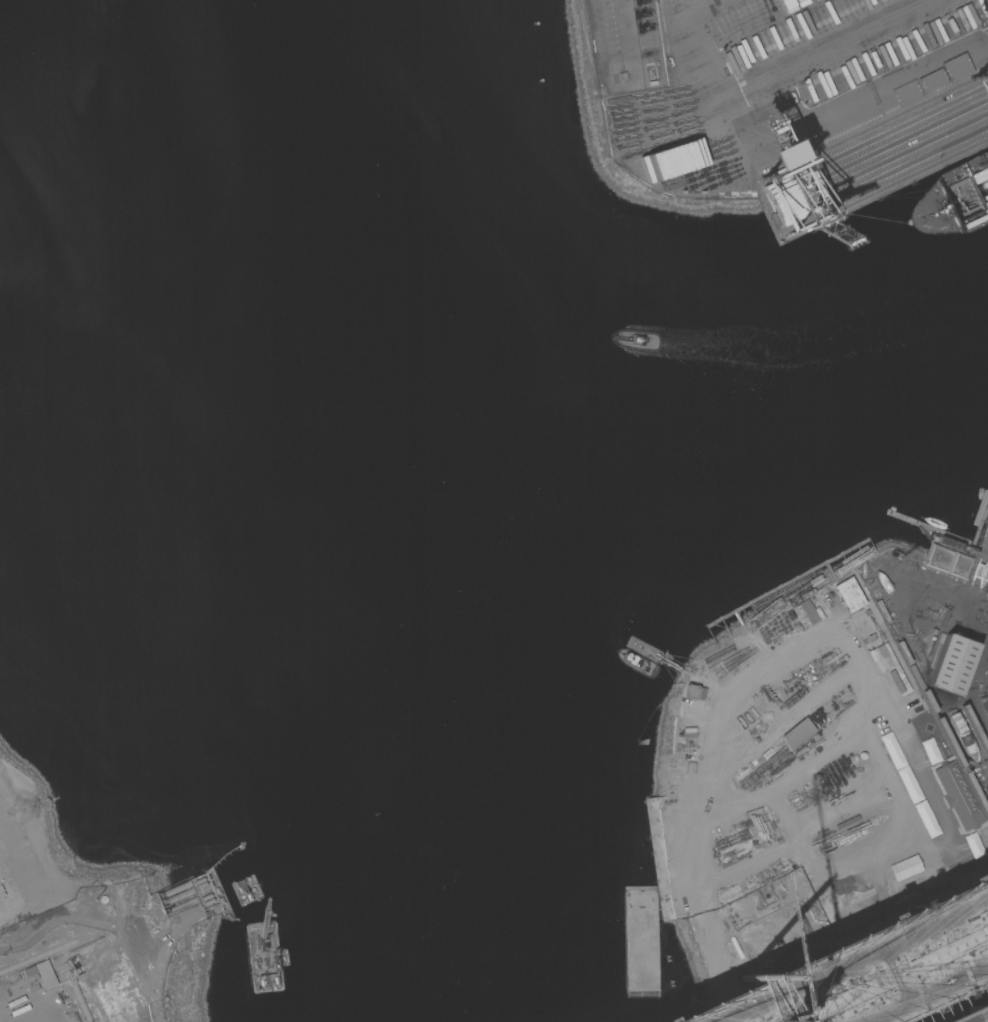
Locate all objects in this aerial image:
road: (702, 7)
road: (826, 50)
road: (798, 131)
building: (778, 155)
building: (662, 165)
building: (948, 560)
building: (848, 594)
road: (986, 634)
building: (951, 665)
road: (767, 675)
building: (693, 692)
road: (885, 710)
building: (796, 734)
building: (956, 797)
building: (178, 889)
building: (181, 895)
road: (865, 952)
road: (851, 958)
road: (966, 958)
building: (42, 974)
power plant: (37, 979)
road: (913, 987)

